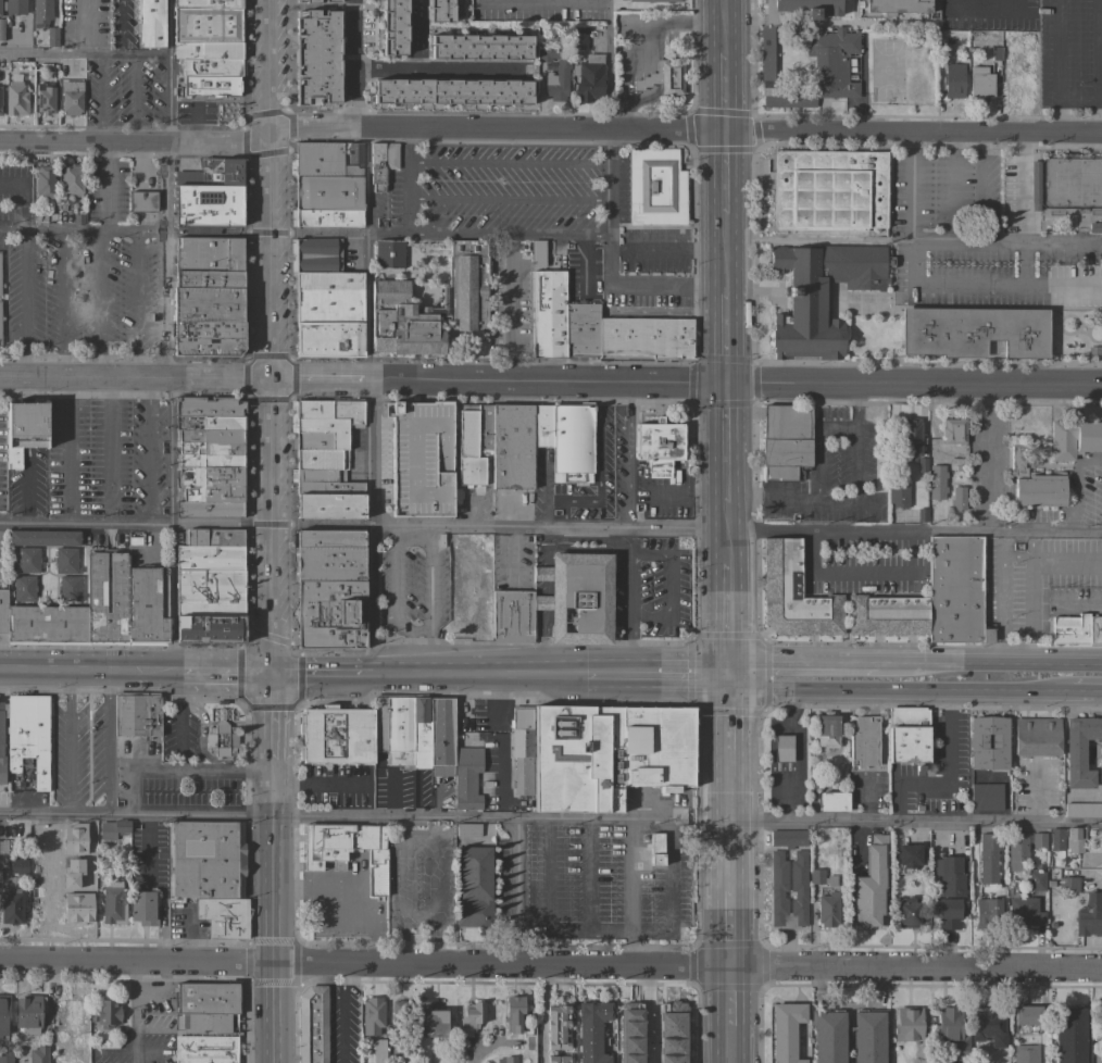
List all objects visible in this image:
road: (577, 0)
building: (654, 0)
building: (309, 1)
building: (330, 1)
building: (15, 7)
building: (897, 7)
road: (980, 9)
building: (439, 10)
building: (41, 13)
building: (151, 24)
road: (723, 26)
road: (120, 27)
building: (392, 27)
building: (1, 29)
building: (52, 37)
building: (578, 37)
building: (209, 46)
building: (479, 47)
road: (289, 53)
building: (940, 53)
road: (116, 54)
building: (809, 54)
building: (995, 54)
road: (50, 55)
building: (316, 57)
road: (355, 63)
road: (606, 64)
road: (1056, 64)
road: (1095, 64)
road: (436, 68)
road: (386, 70)
road: (166, 71)
building: (561, 73)
building: (663, 77)
building: (589, 78)
building: (952, 80)
building: (979, 83)
building: (451, 91)
road: (723, 92)
building: (45, 97)
building: (71, 98)
road: (100, 98)
road: (133, 98)
building: (15, 99)
building: (0, 100)
road: (684, 130)
traffic signals: (723, 132)
road: (133, 141)
building: (328, 148)
road: (246, 155)
road: (508, 161)
building: (381, 163)
building: (325, 164)
building: (214, 173)
road: (723, 173)
road: (406, 179)
building: (71, 180)
building: (45, 182)
road: (105, 185)
building: (1035, 185)
road: (909, 186)
building: (655, 187)
road: (950, 187)
road: (981, 187)
building: (828, 191)
road: (23, 196)
road: (509, 198)
road: (165, 200)
building: (142, 201)
building: (328, 201)
building: (209, 208)
building: (1095, 227)
road: (98, 229)
road: (11, 230)
road: (41, 232)
road: (509, 235)
road: (667, 249)
road: (366, 252)
building: (538, 253)
building: (208, 254)
building: (386, 254)
road: (725, 254)
building: (315, 255)
road: (909, 260)
road: (609, 265)
building: (326, 282)
building: (821, 295)
building: (210, 297)
building: (464, 300)
road: (22, 302)
road: (99, 302)
road: (137, 302)
road: (165, 302)
road: (62, 303)
building: (326, 307)
road: (510, 307)
building: (548, 314)
building: (581, 330)
building: (973, 332)
road: (271, 337)
road: (726, 337)
building: (209, 338)
building: (644, 338)
building: (329, 339)
road: (135, 375)
traffic signals: (272, 376)
road: (687, 378)
building: (208, 407)
building: (324, 423)
building: (210, 424)
road: (836, 424)
building: (542, 425)
building: (24, 429)
building: (953, 432)
building: (210, 437)
building: (910, 438)
building: (1074, 439)
building: (473, 440)
road: (855, 440)
road: (728, 441)
building: (785, 441)
building: (572, 445)
building: (512, 446)
building: (659, 446)
road: (64, 449)
road: (109, 449)
road: (148, 449)
building: (210, 449)
road: (600, 452)
road: (626, 453)
road: (986, 457)
parking lot: (418, 459)
building: (321, 460)
building: (422, 460)
parking lot: (422, 460)
building: (210, 461)
road: (816, 462)
building: (317, 476)
building: (936, 483)
building: (1034, 484)
building: (210, 485)
building: (312, 488)
building: (898, 492)
road: (803, 498)
building: (957, 498)
road: (550, 500)
building: (329, 505)
building: (209, 510)
road: (136, 523)
road: (662, 528)
road: (729, 535)
building: (43, 537)
building: (214, 537)
building: (327, 538)
road: (810, 551)
road: (910, 551)
building: (328, 555)
building: (209, 558)
road: (628, 558)
building: (27, 560)
building: (65, 561)
building: (328, 573)
road: (860, 573)
road: (540, 574)
building: (209, 586)
road: (668, 587)
building: (24, 588)
building: (68, 588)
road: (540, 588)
building: (329, 589)
building: (955, 590)
building: (794, 595)
building: (107, 597)
building: (577, 597)
road: (1000, 597)
road: (1028, 597)
road: (430, 602)
road: (540, 602)
road: (398, 603)
building: (147, 605)
building: (209, 608)
building: (3, 615)
building: (887, 615)
building: (512, 617)
building: (328, 623)
building: (46, 625)
road: (730, 627)
building: (210, 629)
building: (1069, 630)
building: (1094, 631)
road: (540, 645)
road: (676, 659)
traffic signals: (731, 660)
road: (803, 661)
road: (989, 662)
road: (89, 674)
road: (226, 675)
traffic signals: (273, 676)
road: (320, 676)
road: (475, 676)
road: (605, 676)
road: (678, 687)
road: (179, 688)
road: (189, 688)
traffic signals: (732, 689)
road: (901, 691)
road: (1087, 693)
building: (137, 714)
road: (273, 718)
building: (393, 728)
building: (827, 730)
road: (179, 731)
building: (419, 731)
building: (441, 731)
building: (336, 735)
road: (200, 736)
building: (909, 736)
building: (1, 737)
building: (1037, 737)
building: (220, 739)
building: (26, 741)
building: (864, 742)
building: (988, 743)
road: (68, 745)
road: (108, 745)
building: (782, 748)
building: (522, 749)
building: (1080, 751)
building: (608, 754)
road: (180, 766)
road: (221, 766)
road: (202, 772)
building: (466, 778)
road: (318, 788)
road: (132, 793)
building: (986, 797)
building: (832, 801)
building: (1082, 810)
road: (334, 816)
road: (916, 821)
building: (113, 828)
building: (467, 830)
building: (46, 833)
building: (788, 838)
building: (1055, 839)
building: (1075, 839)
building: (1038, 840)
building: (655, 849)
building: (347, 850)
building: (1016, 850)
building: (89, 851)
building: (839, 853)
building: (906, 858)
building: (988, 858)
building: (206, 859)
road: (148, 860)
building: (1, 863)
building: (17, 865)
building: (949, 874)
road: (730, 876)
building: (798, 876)
building: (821, 877)
building: (1036, 881)
building: (902, 883)
building: (871, 884)
building: (1067, 885)
building: (473, 887)
road: (309, 891)
road: (435, 892)
road: (514, 893)
building: (43, 895)
road: (631, 895)
building: (113, 903)
building: (141, 905)
building: (11, 906)
building: (827, 910)
road: (275, 911)
building: (909, 911)
building: (948, 912)
building: (987, 912)
building: (1024, 912)
building: (1088, 916)
building: (224, 917)
road: (377, 920)
road: (573, 927)
road: (161, 931)
road: (137, 965)
road: (688, 970)
road: (162, 972)
road: (158, 996)
building: (209, 998)
building: (107, 1012)
building: (28, 1013)
road: (133, 1013)
building: (3, 1014)
building: (513, 1014)
road: (342, 1015)
building: (399, 1015)
building: (1027, 1015)
building: (372, 1016)
building: (471, 1018)
building: (70, 1020)
building: (204, 1022)
building: (666, 1022)
building: (431, 1023)
building: (907, 1024)
building: (1097, 1024)
building: (312, 1025)
building: (629, 1025)
building: (556, 1026)
building: (988, 1026)
building: (951, 1028)
building: (526, 1030)
building: (591, 1031)
building: (786, 1031)
building: (1068, 1035)
building: (868, 1046)
building: (204, 1049)
building: (378, 1051)
building: (38, 1054)
building: (1026, 1054)
building: (644, 1055)
building: (5, 1056)
building: (1098, 1056)
building: (505, 1060)
building: (558, 1060)

